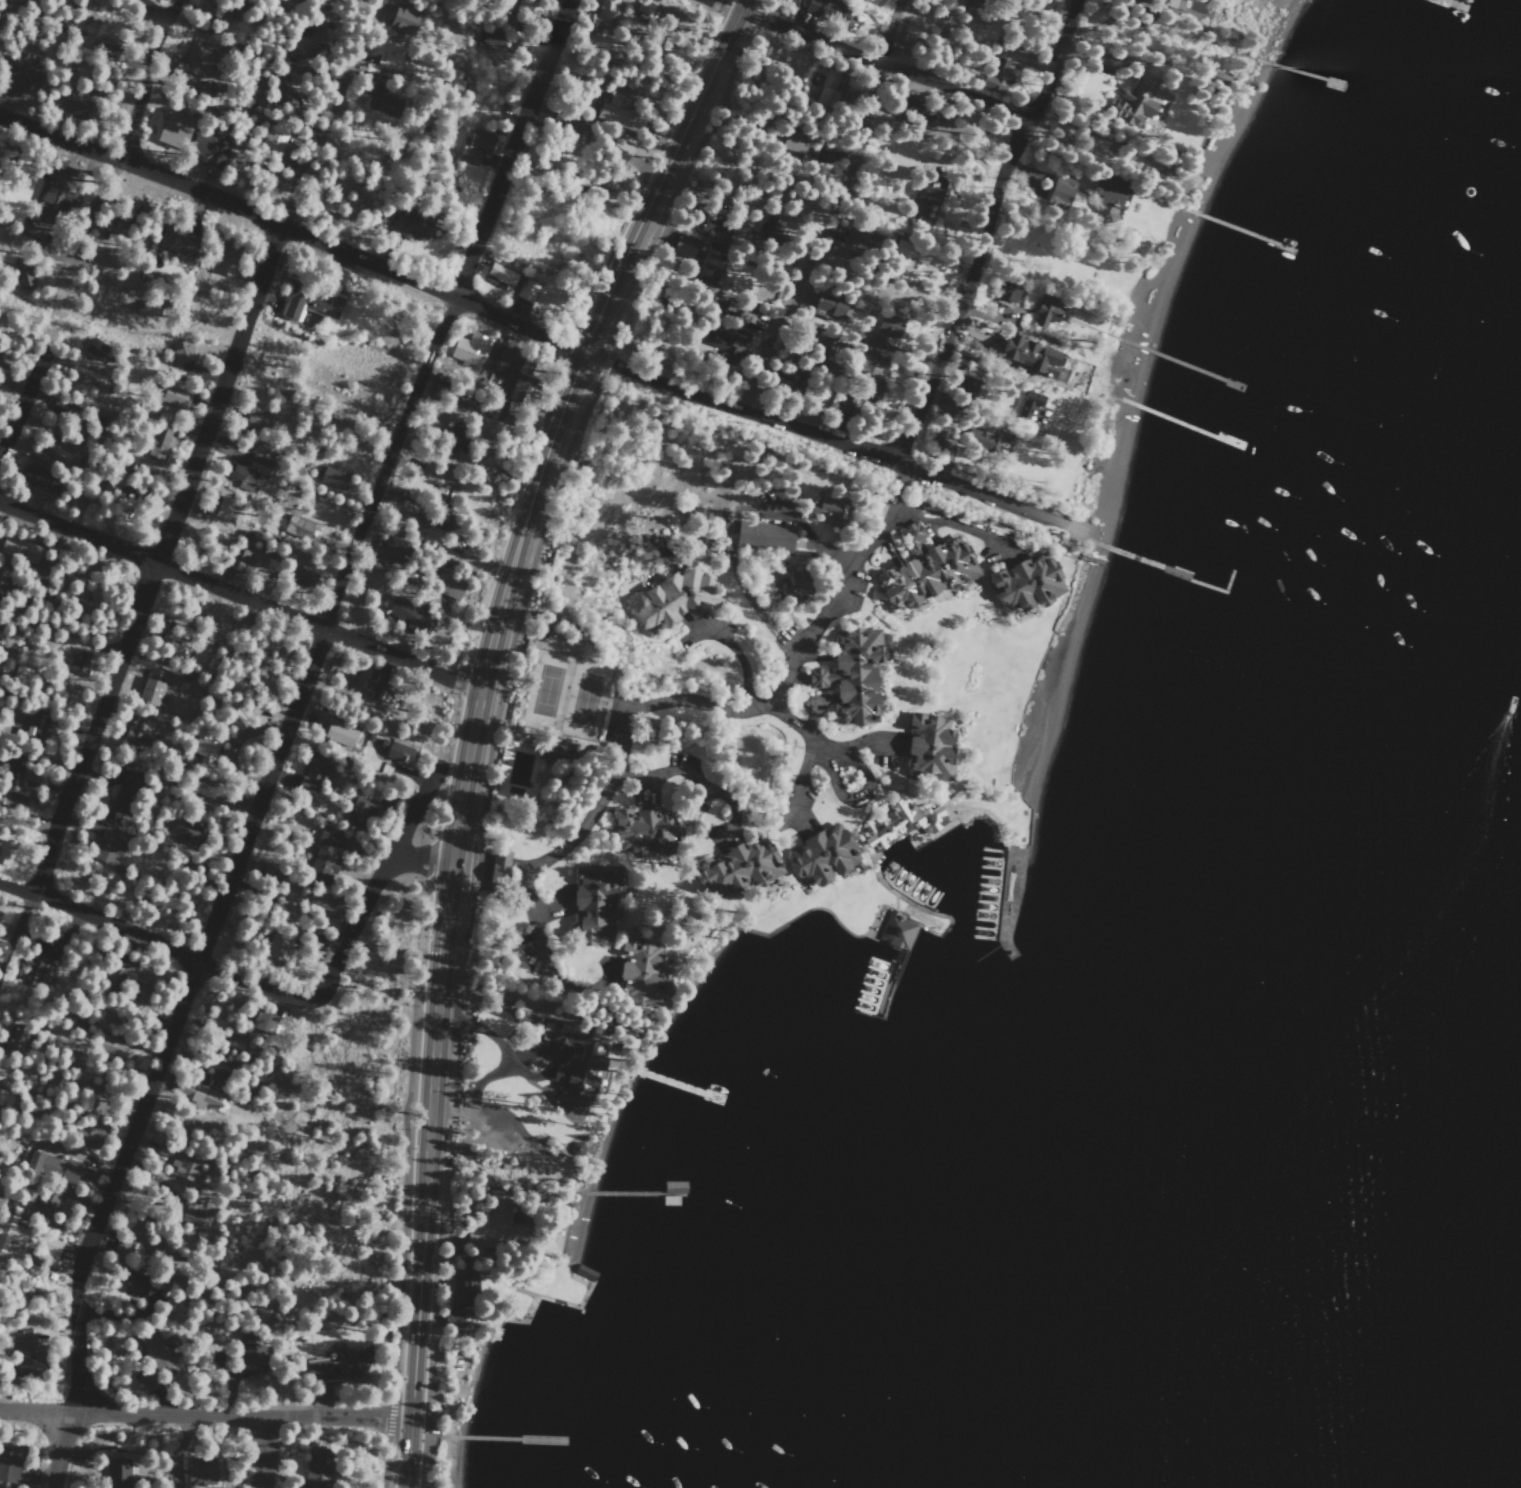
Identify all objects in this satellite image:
building: (1162, 2)
pier: (1454, 4)
building: (644, 8)
road: (151, 11)
building: (227, 11)
building: (525, 13)
building: (832, 14)
building: (602, 15)
building: (404, 20)
building: (493, 39)
building: (303, 40)
building: (93, 47)
building: (389, 56)
building: (196, 59)
road: (862, 65)
building: (1003, 68)
pier: (1301, 75)
building: (17, 77)
road: (146, 78)
building: (451, 85)
building: (828, 88)
building: (376, 89)
building: (284, 95)
building: (77, 99)
building: (1134, 101)
building: (616, 114)
road: (326, 118)
building: (562, 119)
building: (172, 132)
building: (479, 140)
building: (792, 143)
building: (269, 145)
building: (206, 149)
building: (619, 150)
building: (467, 158)
building: (609, 181)
building: (57, 192)
building: (1060, 192)
building: (926, 196)
building: (1109, 200)
road: (821, 205)
road: (94, 210)
building: (132, 219)
building: (712, 225)
building: (411, 226)
pier: (1243, 231)
road: (983, 232)
building: (176, 241)
building: (858, 243)
building: (685, 246)
building: (907, 253)
building: (227, 258)
building: (706, 272)
building: (25, 274)
building: (512, 282)
building: (1006, 295)
building: (308, 300)
building: (828, 307)
building: (160, 308)
building: (1047, 313)
building: (887, 325)
road: (205, 326)
road: (537, 332)
building: (470, 350)
building: (180, 353)
building: (97, 354)
building: (503, 358)
pier: (1179, 364)
building: (865, 378)
building: (521, 379)
building: (786, 382)
building: (173, 395)
building: (1030, 404)
road: (19, 407)
building: (63, 407)
building: (255, 422)
pier: (1180, 423)
building: (457, 437)
building: (985, 440)
building: (155, 445)
building: (56, 449)
building: (235, 474)
road: (543, 475)
building: (502, 476)
building: (333, 479)
building: (120, 489)
building: (219, 508)
building: (828, 509)
building: (441, 513)
building: (296, 528)
building: (764, 537)
building: (15, 549)
building: (391, 554)
road: (835, 554)
pier: (1153, 558)
road: (157, 560)
building: (234, 560)
road: (856, 565)
building: (254, 567)
building: (927, 570)
building: (303, 579)
building: (789, 583)
building: (1027, 584)
building: (447, 587)
road: (241, 597)
building: (674, 599)
building: (406, 615)
building: (79, 661)
road: (740, 663)
building: (852, 676)
building: (151, 685)
building: (372, 685)
building: (29, 723)
building: (137, 731)
building: (337, 733)
road: (622, 733)
road: (492, 734)
road: (281, 737)
building: (930, 746)
road: (822, 747)
building: (208, 748)
building: (400, 753)
building: (552, 753)
building: (310, 773)
road: (671, 773)
building: (17, 775)
building: (125, 782)
building: (199, 788)
road: (639, 790)
road: (865, 795)
building: (15, 804)
building: (364, 806)
building: (902, 823)
building: (645, 832)
building: (324, 850)
building: (104, 851)
building: (4, 853)
building: (822, 855)
road: (421, 859)
building: (498, 864)
building: (737, 867)
road: (377, 884)
building: (593, 904)
road: (14, 928)
building: (897, 931)
road: (153, 944)
building: (275, 949)
road: (540, 952)
building: (33, 966)
building: (641, 973)
pier: (888, 988)
building: (13, 1039)
building: (233, 1043)
building: (110, 1047)
building: (574, 1063)
pier: (678, 1083)
building: (196, 1095)
building: (5, 1096)
building: (86, 1131)
building: (180, 1163)
building: (51, 1165)
pier: (625, 1189)
building: (48, 1198)
building: (191, 1216)
building: (488, 1227)
road: (422, 1234)
building: (7, 1235)
building: (49, 1246)
building: (465, 1274)
building: (133, 1283)
building: (453, 1318)
building: (24, 1347)
building: (154, 1351)
building: (250, 1358)
building: (333, 1368)
road: (206, 1415)
pier: (507, 1432)
road: (262, 1452)
building: (8, 1462)
building: (117, 1470)
building: (201, 1472)
building: (316, 1476)

